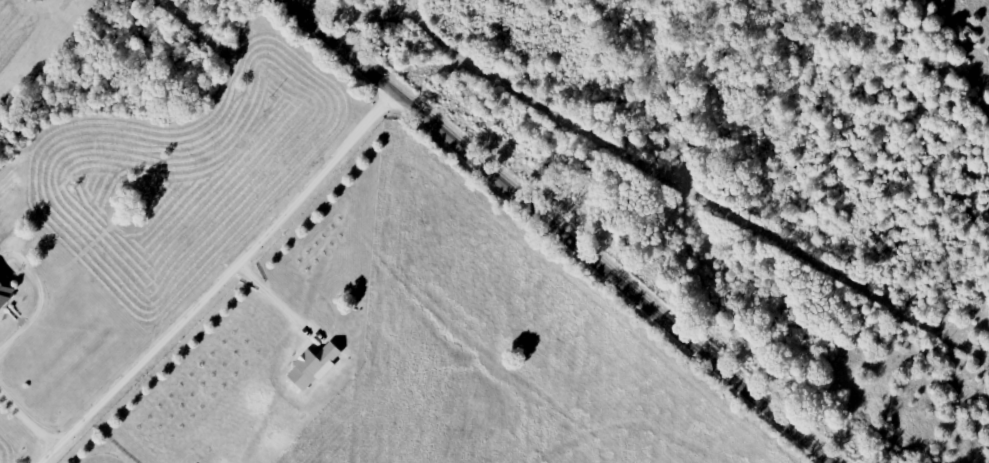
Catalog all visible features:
road: (561, 233)
road: (222, 282)
building: (6, 290)
building: (314, 367)

